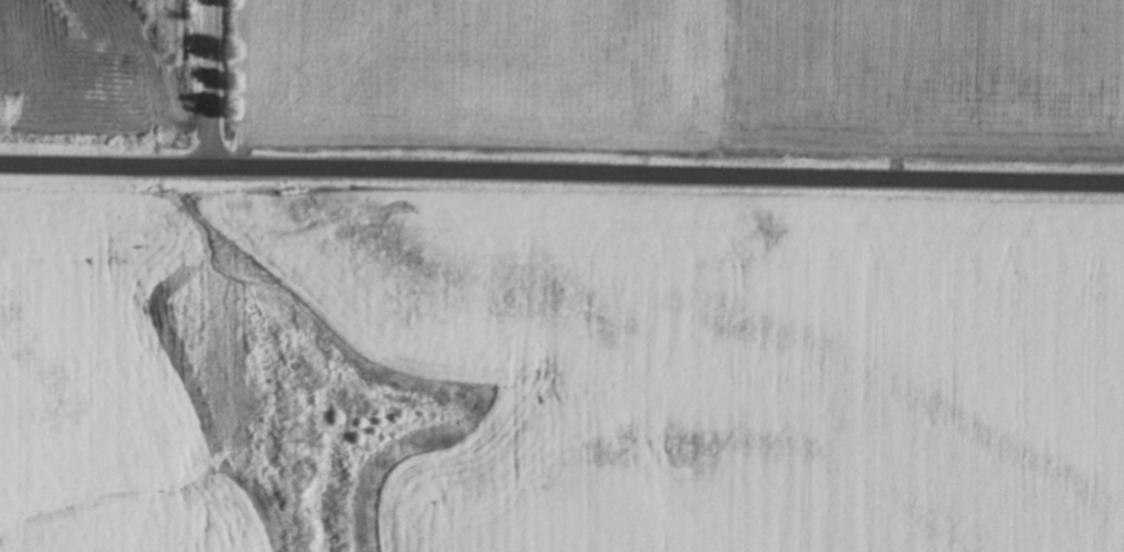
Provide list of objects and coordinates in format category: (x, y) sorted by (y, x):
road: (218, 97)
road: (561, 203)

